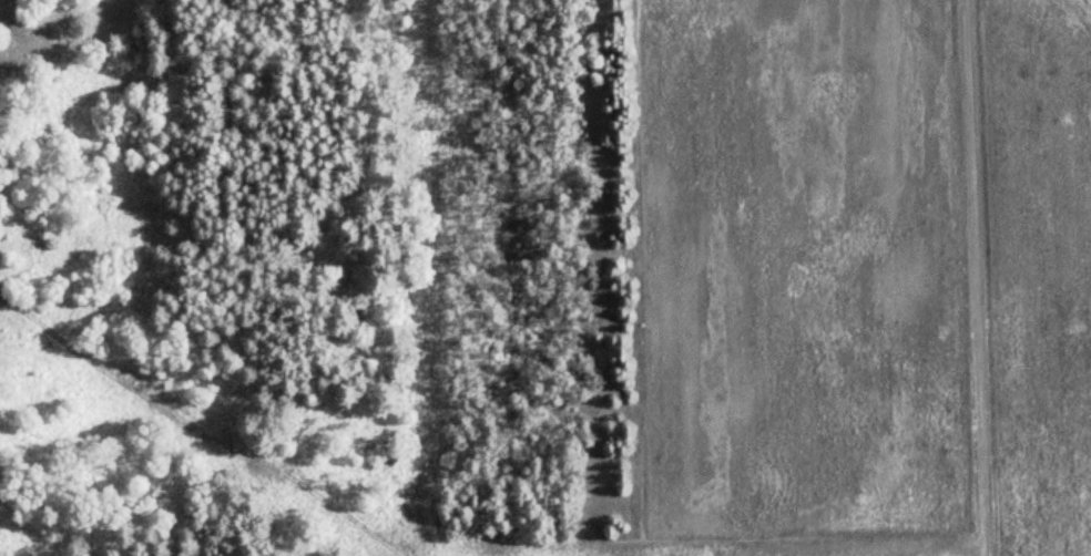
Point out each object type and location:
crop: (1036, 269)

